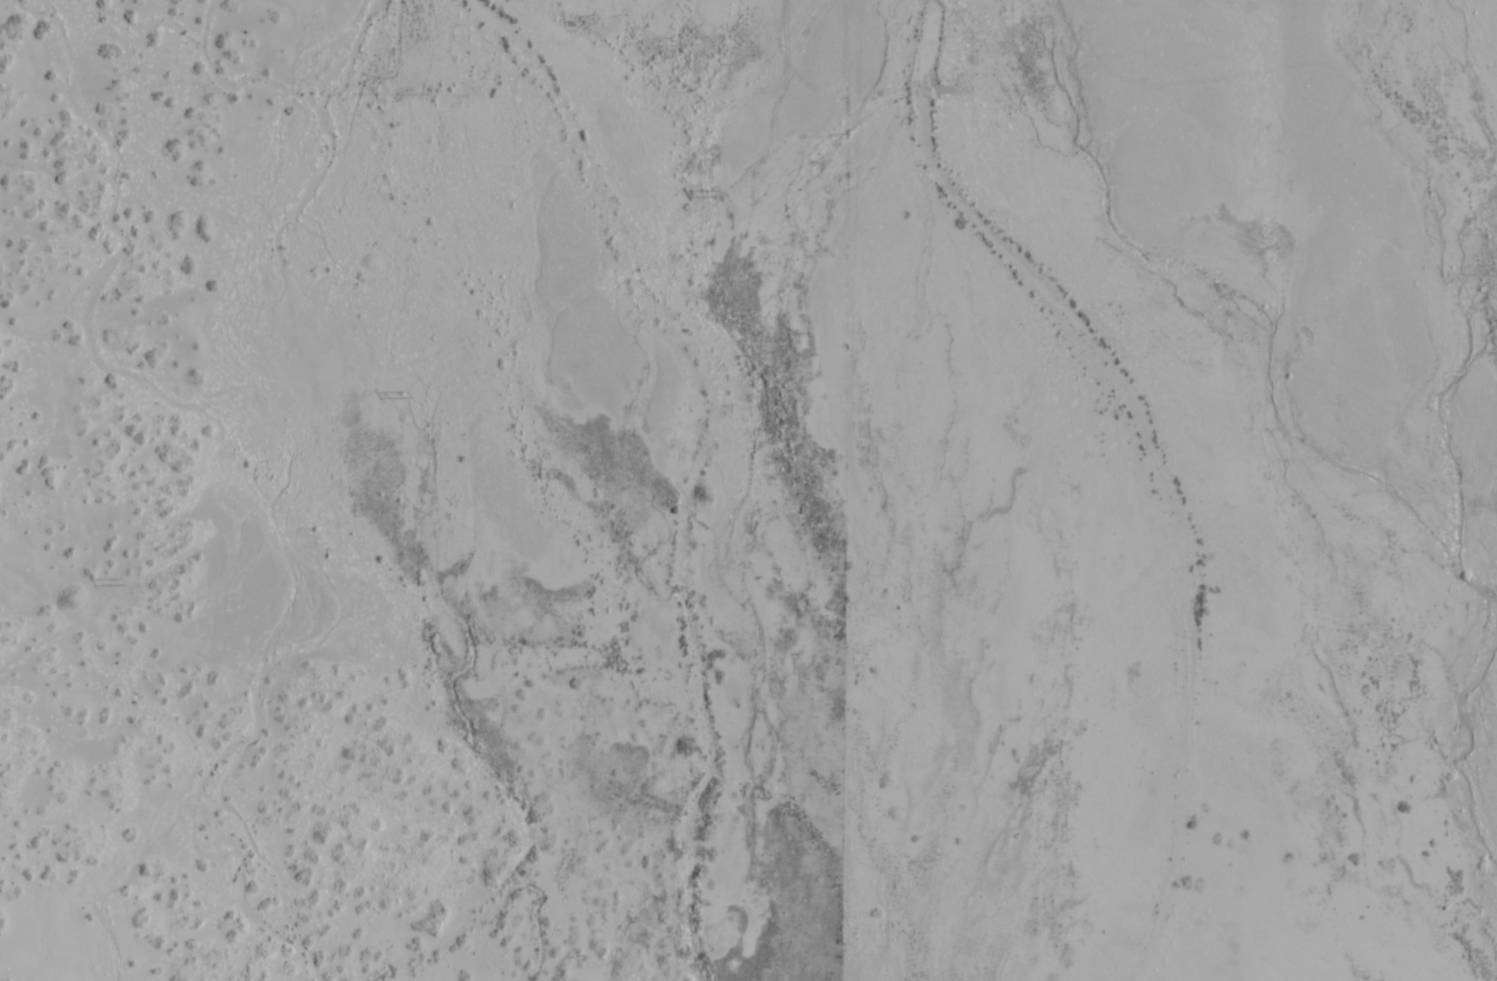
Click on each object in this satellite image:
road: (1352, 965)

